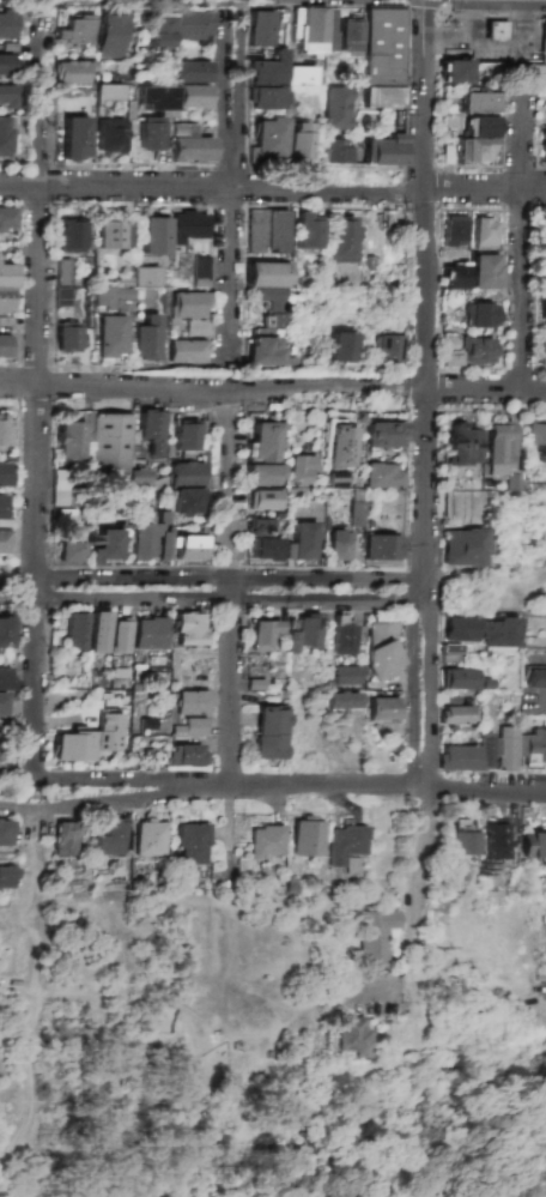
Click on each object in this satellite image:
road: (407, 0)
road: (426, 2)
road: (445, 2)
road: (26, 4)
road: (144, 6)
road: (328, 6)
road: (492, 14)
building: (7, 25)
building: (189, 25)
building: (259, 29)
building: (75, 30)
building: (158, 31)
building: (315, 31)
building: (500, 32)
gas station: (500, 32)
building: (109, 35)
building: (351, 35)
road: (471, 36)
building: (544, 42)
road: (521, 44)
building: (383, 58)
building: (5, 65)
building: (268, 69)
building: (71, 72)
building: (190, 72)
building: (454, 72)
building: (299, 77)
road: (238, 84)
building: (107, 92)
building: (7, 96)
building: (190, 96)
building: (267, 98)
building: (475, 103)
building: (544, 105)
building: (336, 108)
building: (147, 133)
building: (4, 135)
building: (108, 135)
building: (73, 138)
building: (267, 138)
building: (475, 140)
building: (297, 141)
building: (542, 144)
building: (187, 145)
building: (336, 151)
building: (386, 151)
road: (273, 189)
road: (230, 194)
building: (6, 219)
building: (187, 226)
building: (266, 230)
building: (304, 231)
building: (454, 231)
building: (483, 234)
building: (110, 235)
building: (71, 236)
building: (153, 236)
building: (542, 236)
building: (341, 240)
road: (522, 255)
building: (61, 272)
building: (541, 272)
building: (474, 273)
building: (265, 274)
road: (427, 276)
building: (145, 277)
building: (6, 288)
building: (61, 297)
building: (111, 300)
building: (187, 306)
building: (542, 313)
building: (479, 315)
building: (269, 327)
building: (196, 328)
building: (111, 335)
building: (66, 337)
building: (147, 339)
building: (2, 346)
building: (342, 347)
building: (387, 347)
building: (449, 350)
building: (474, 351)
building: (188, 352)
building: (541, 353)
road: (159, 367)
road: (273, 387)
road: (36, 400)
building: (4, 431)
building: (153, 431)
building: (187, 435)
building: (382, 435)
building: (534, 439)
building: (266, 442)
building: (111, 445)
building: (340, 445)
building: (461, 446)
building: (498, 448)
building: (301, 471)
building: (4, 473)
building: (187, 474)
building: (265, 474)
building: (381, 476)
building: (338, 479)
building: (60, 488)
building: (265, 500)
building: (187, 502)
building: (1, 507)
building: (354, 514)
building: (260, 527)
building: (304, 540)
building: (4, 542)
building: (163, 542)
building: (339, 545)
building: (107, 546)
building: (382, 548)
building: (462, 548)
building: (266, 549)
building: (72, 552)
road: (207, 582)
road: (229, 585)
road: (423, 588)
road: (423, 597)
road: (207, 601)
building: (188, 629)
building: (459, 629)
building: (77, 630)
building: (308, 630)
building: (99, 631)
building: (6, 633)
building: (498, 633)
building: (148, 634)
building: (263, 634)
building: (342, 636)
building: (121, 637)
building: (290, 642)
building: (381, 649)
road: (414, 660)
road: (432, 660)
building: (535, 671)
building: (346, 676)
building: (6, 678)
building: (456, 678)
building: (342, 700)
building: (188, 702)
building: (2, 703)
building: (381, 708)
building: (453, 715)
building: (189, 729)
building: (268, 733)
building: (89, 740)
building: (533, 748)
building: (506, 749)
building: (184, 755)
building: (469, 755)
road: (272, 785)
road: (91, 805)
building: (462, 824)
building: (6, 833)
building: (110, 838)
building: (304, 838)
building: (66, 839)
building: (148, 839)
building: (265, 841)
building: (189, 844)
building: (341, 844)
building: (461, 844)
building: (532, 845)
road: (411, 872)
building: (7, 877)
building: (376, 935)
building: (353, 1036)

